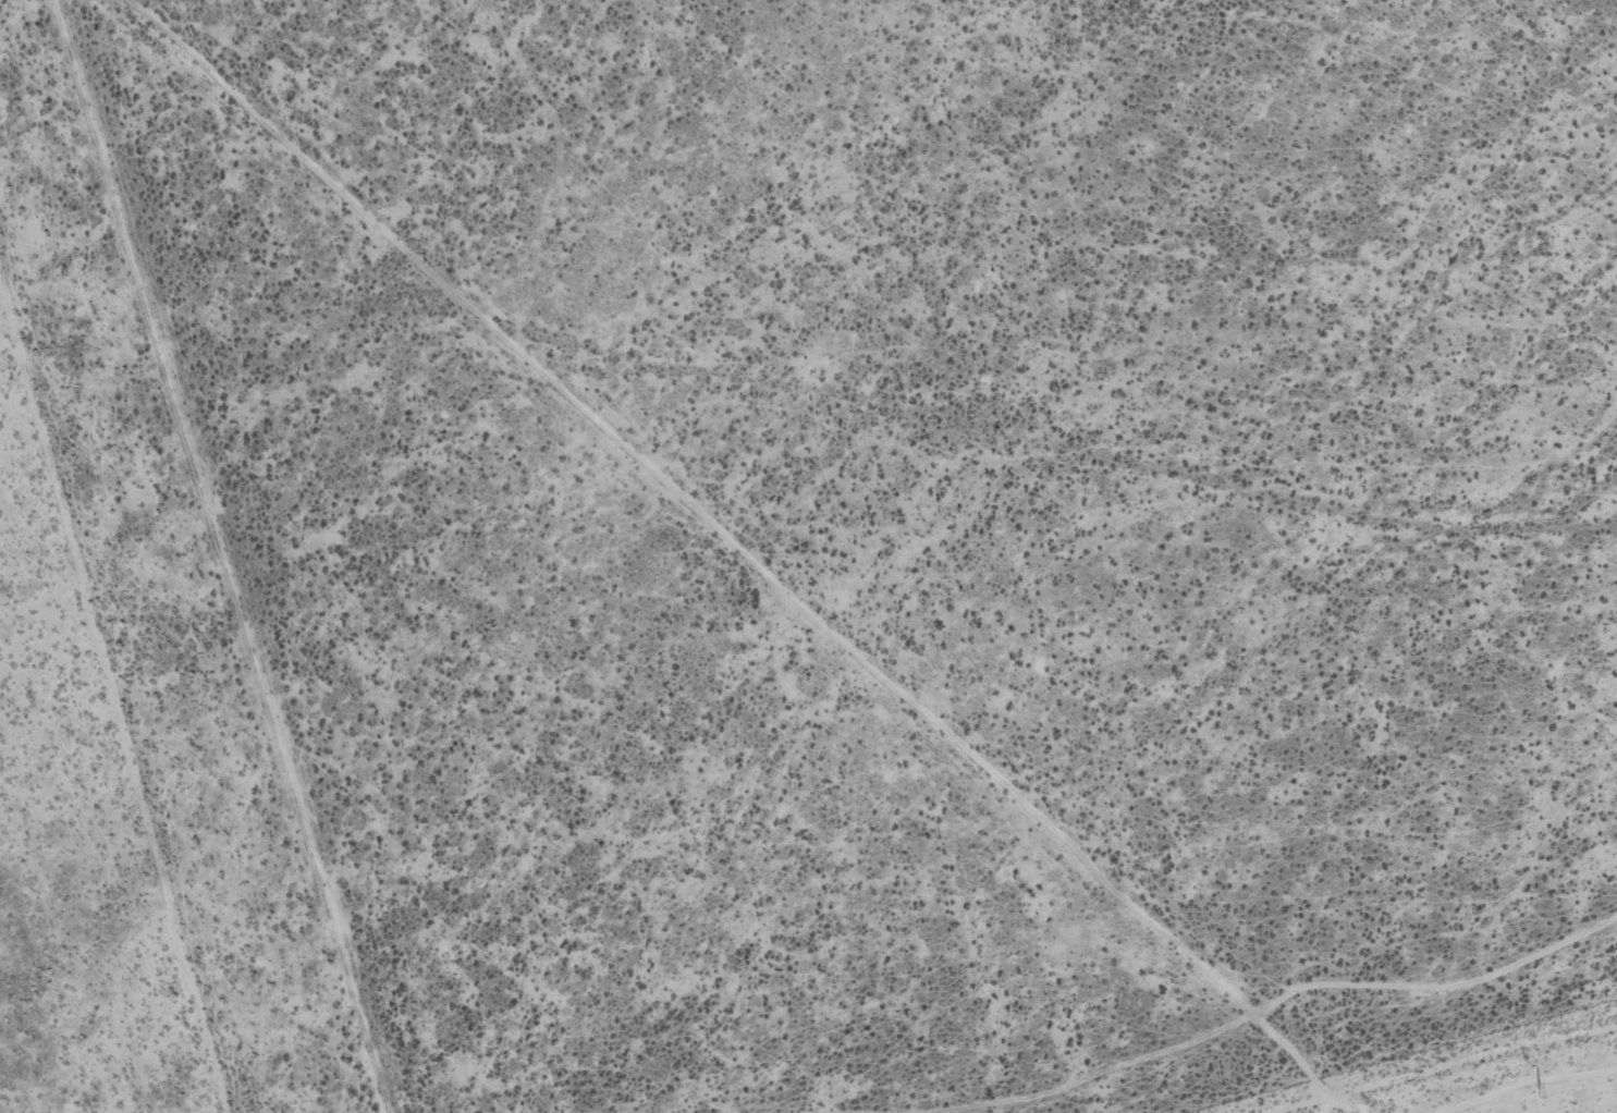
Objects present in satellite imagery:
power tower: (1535, 1092)

